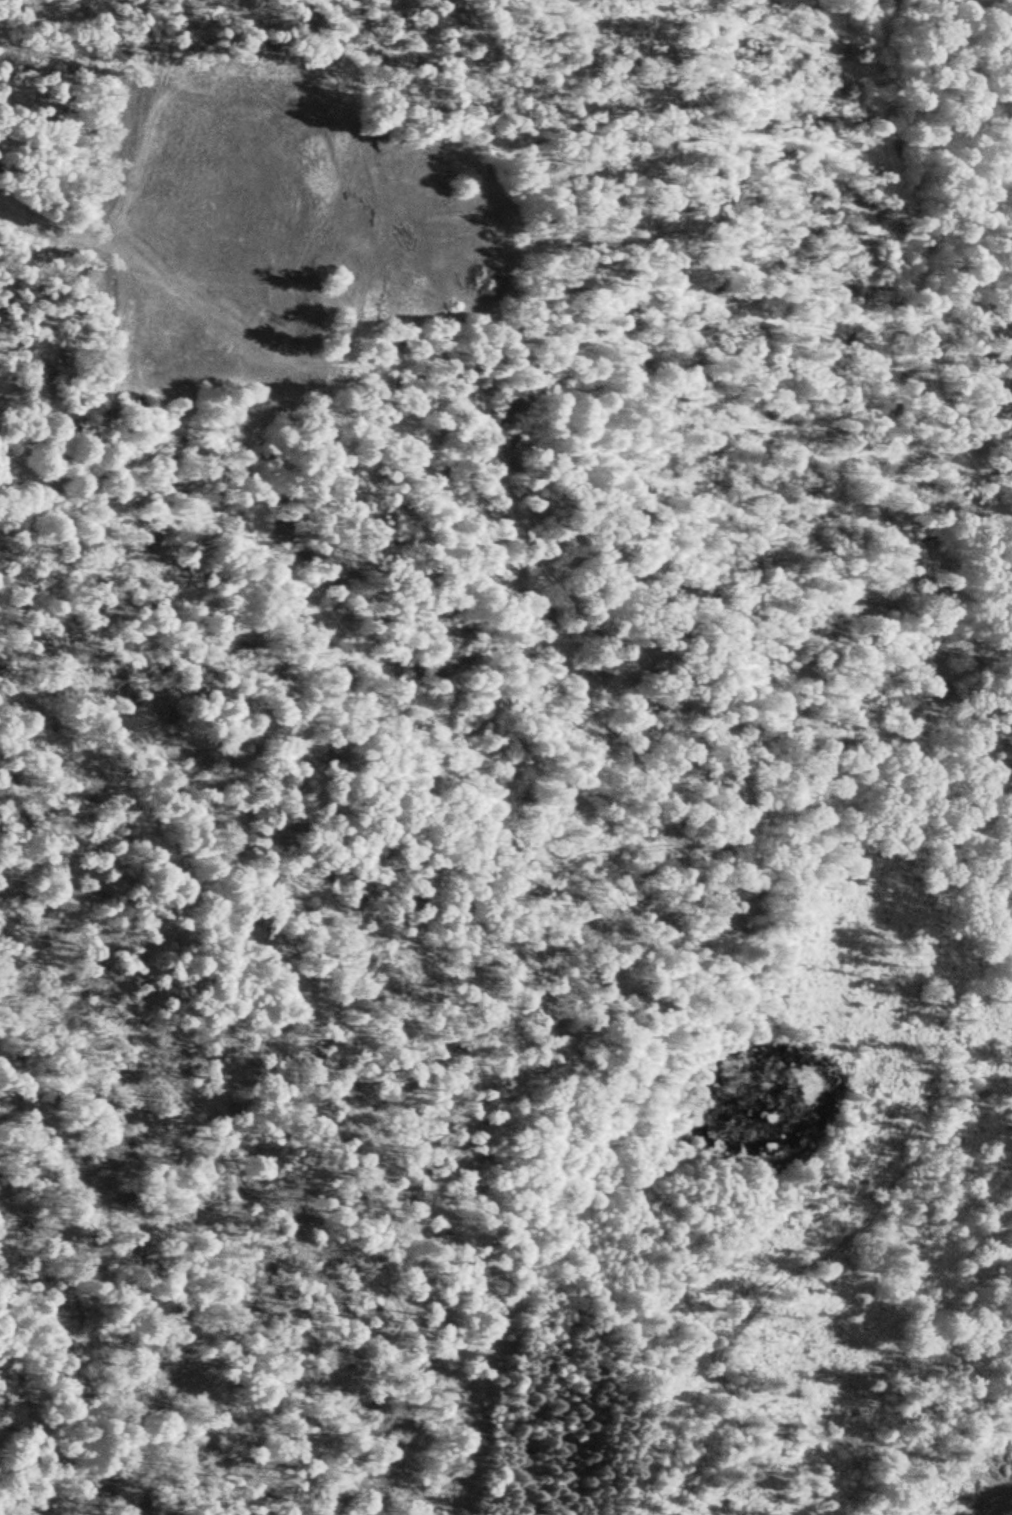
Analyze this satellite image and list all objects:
road: (157, 238)
road: (979, 1508)

